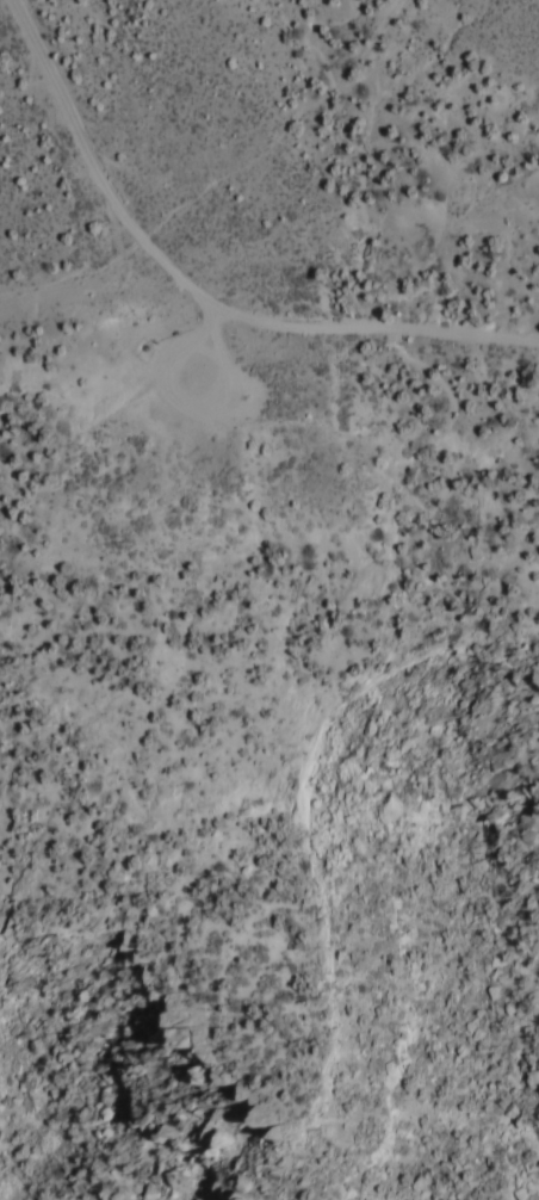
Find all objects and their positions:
road: (205, 282)

